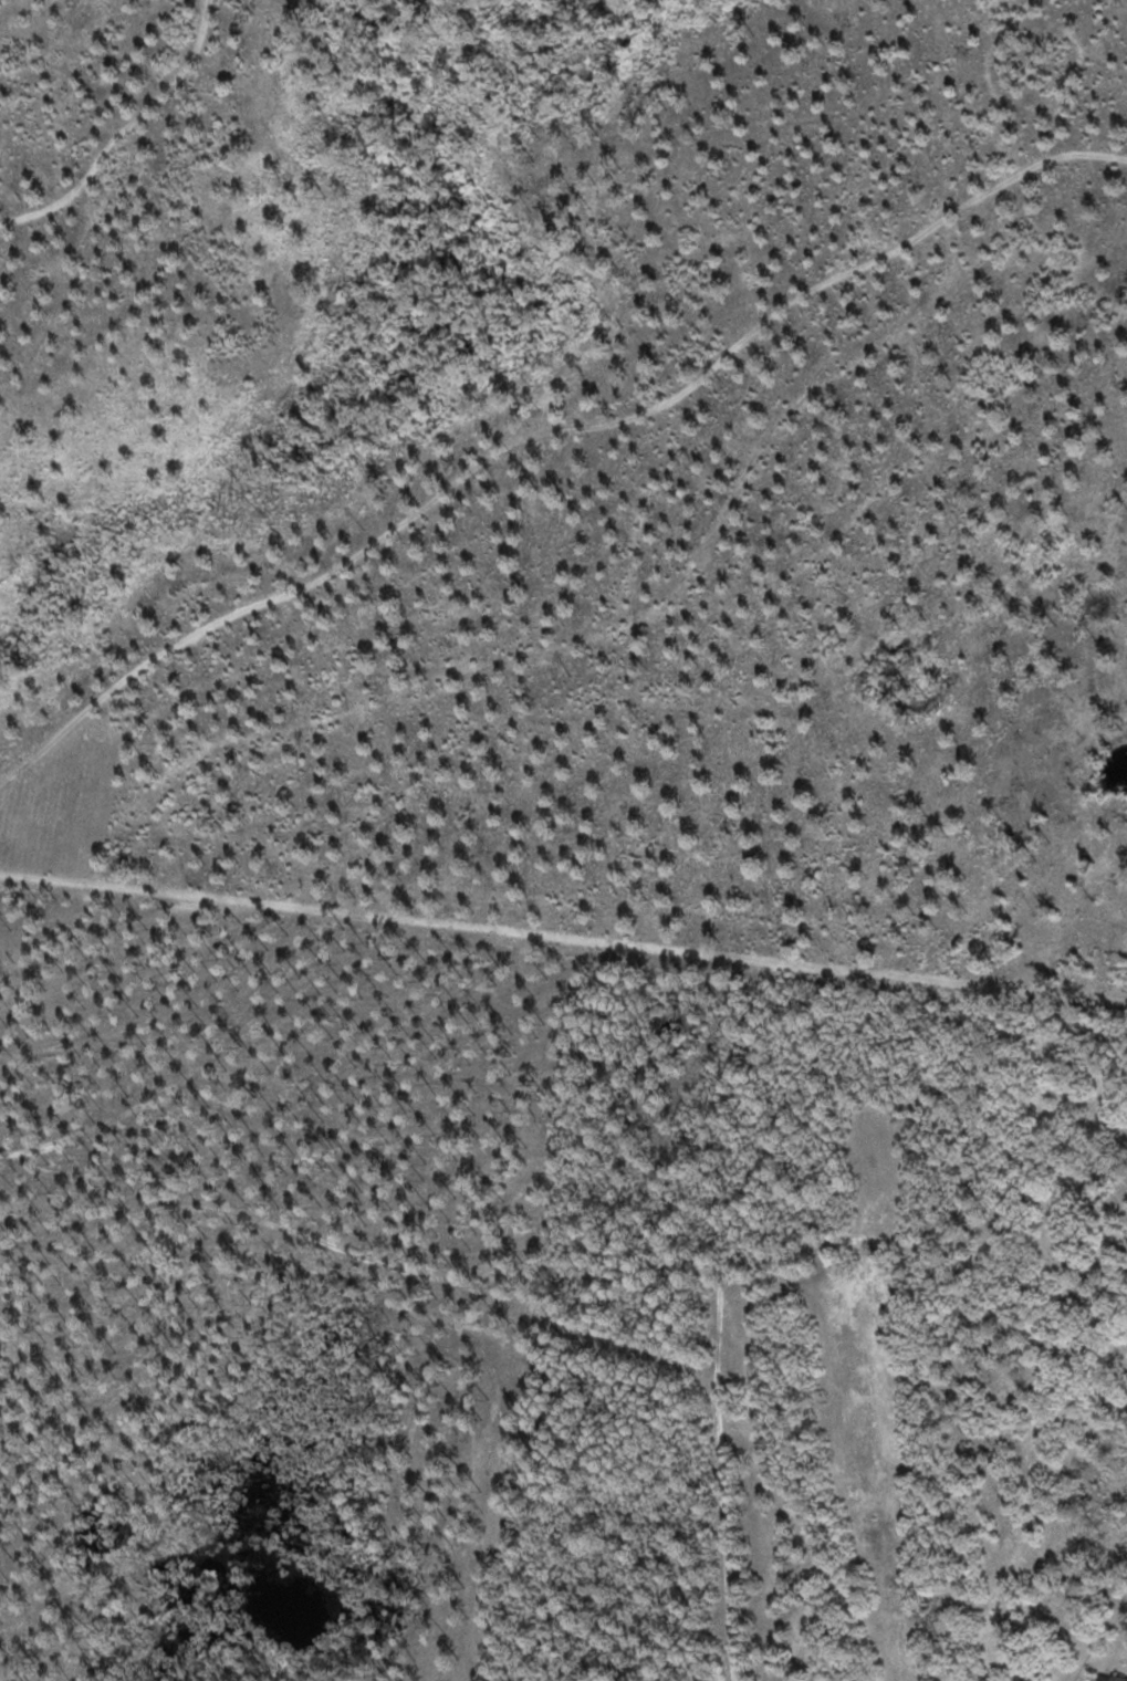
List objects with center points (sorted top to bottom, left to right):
building: (1113, 1678)

